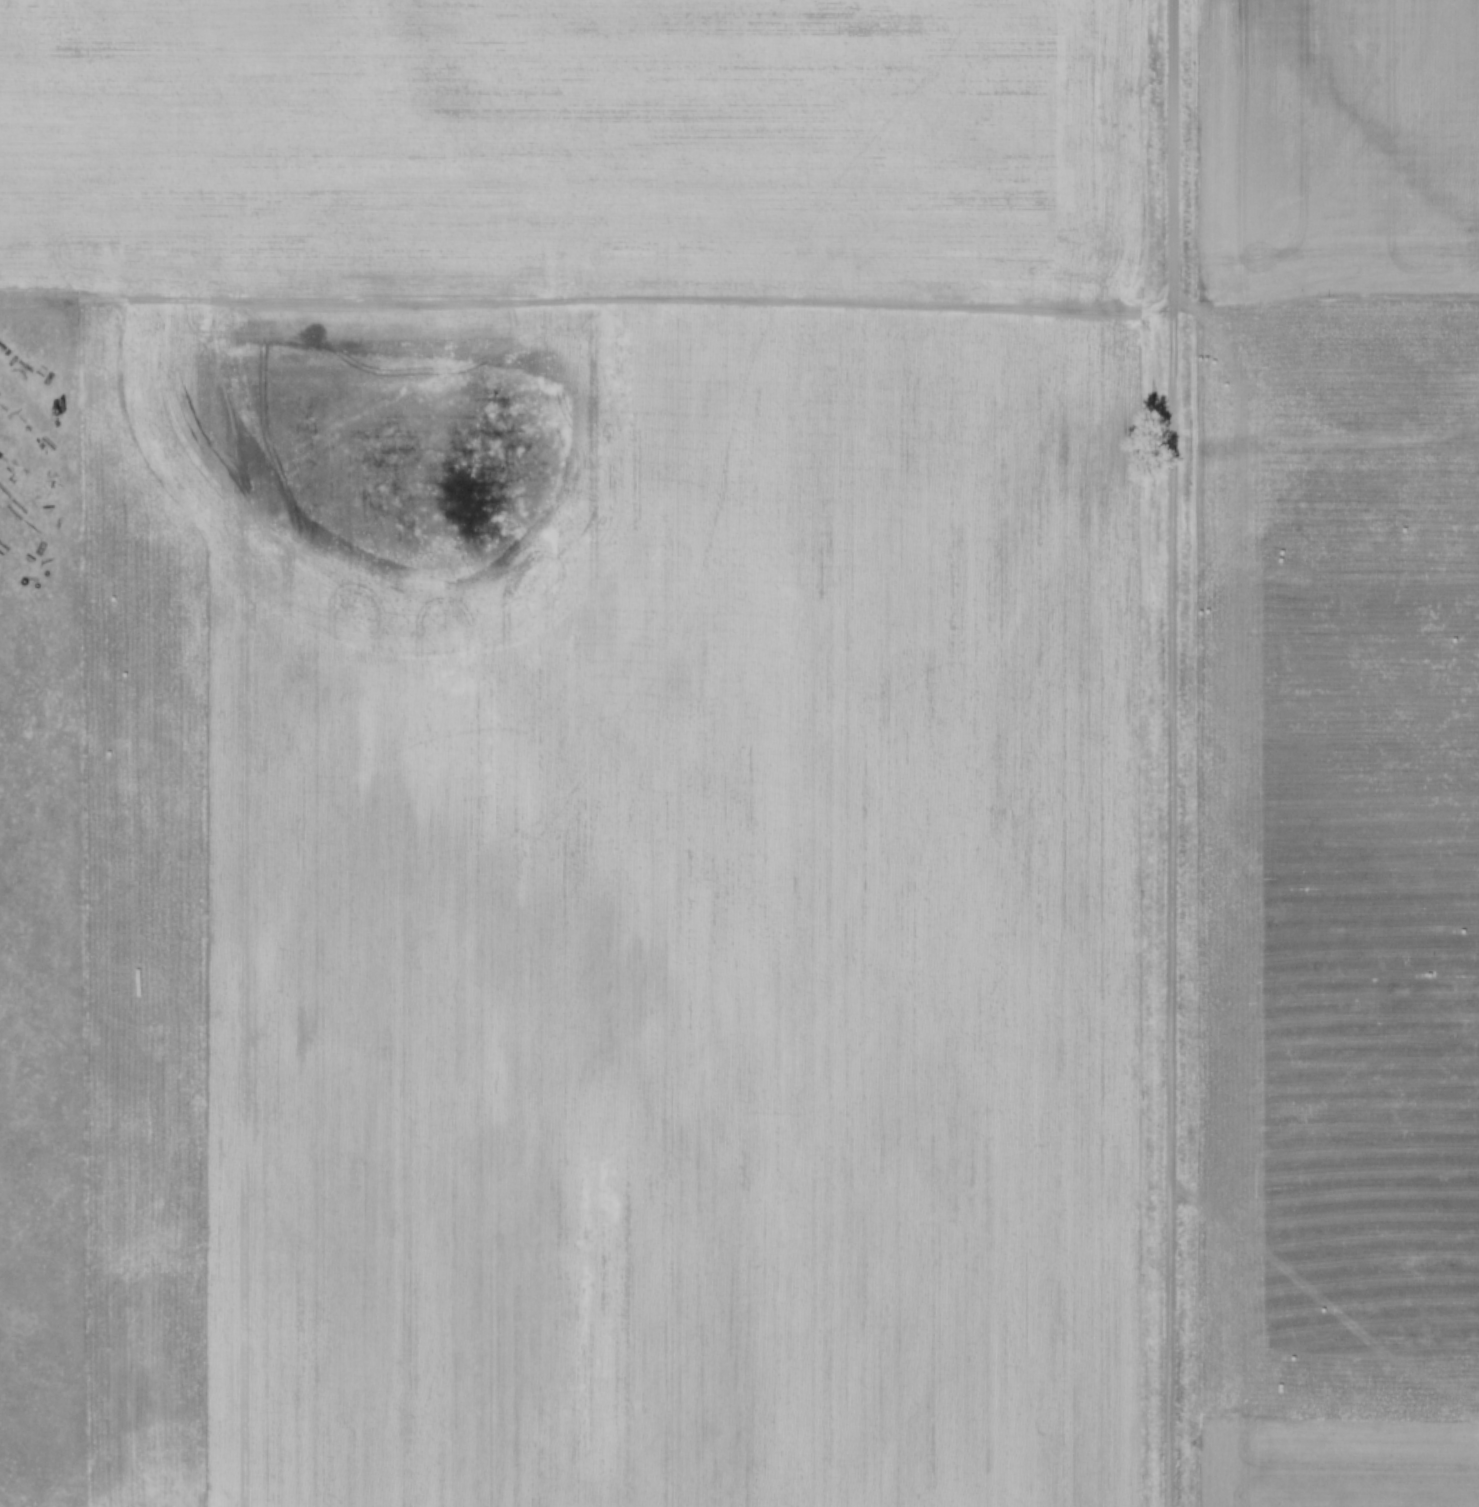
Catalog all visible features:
road: (1177, 753)

